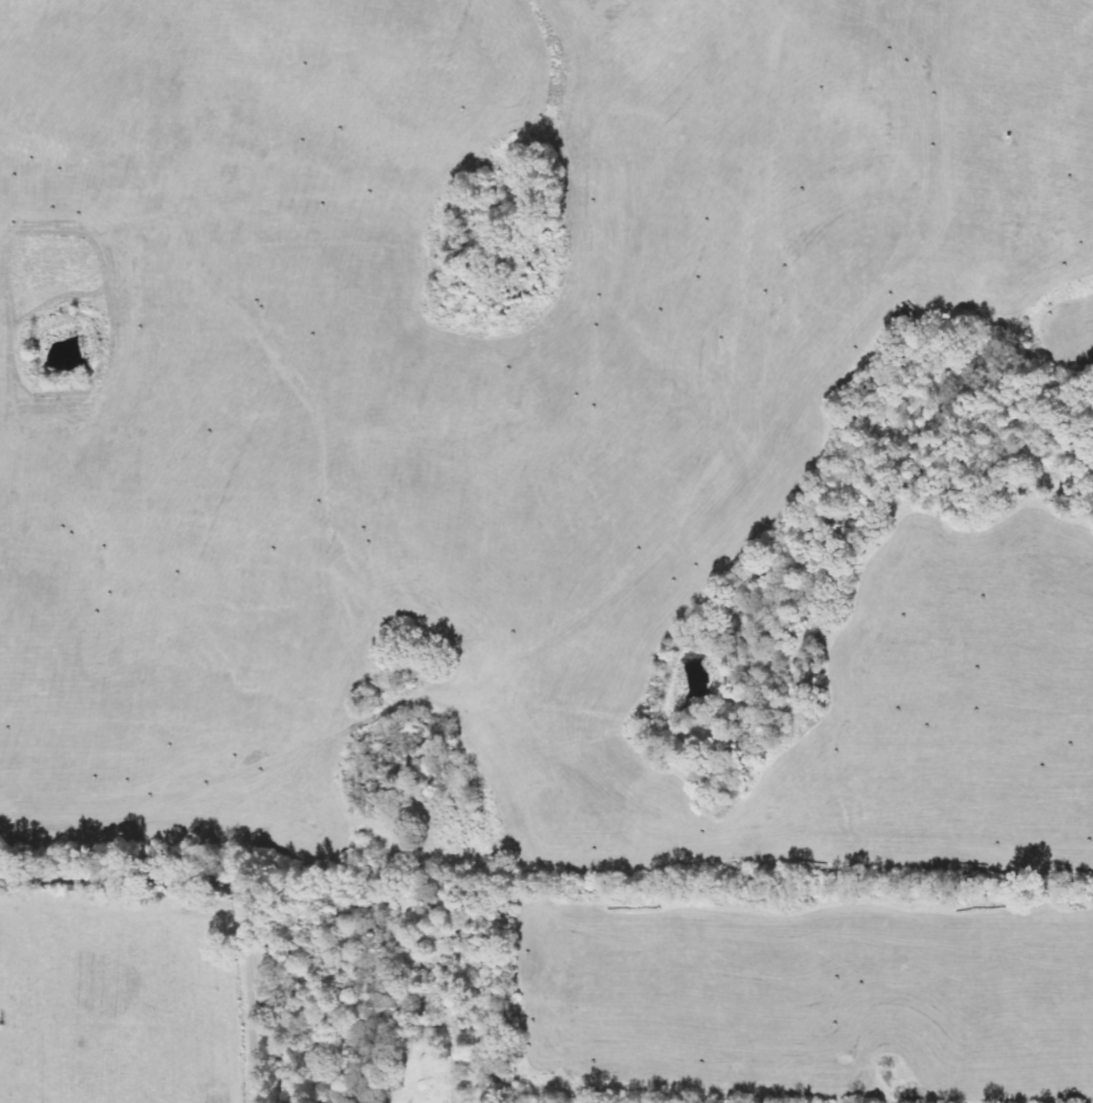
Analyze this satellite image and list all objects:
road: (307, 769)
road: (112, 879)
road: (249, 987)

